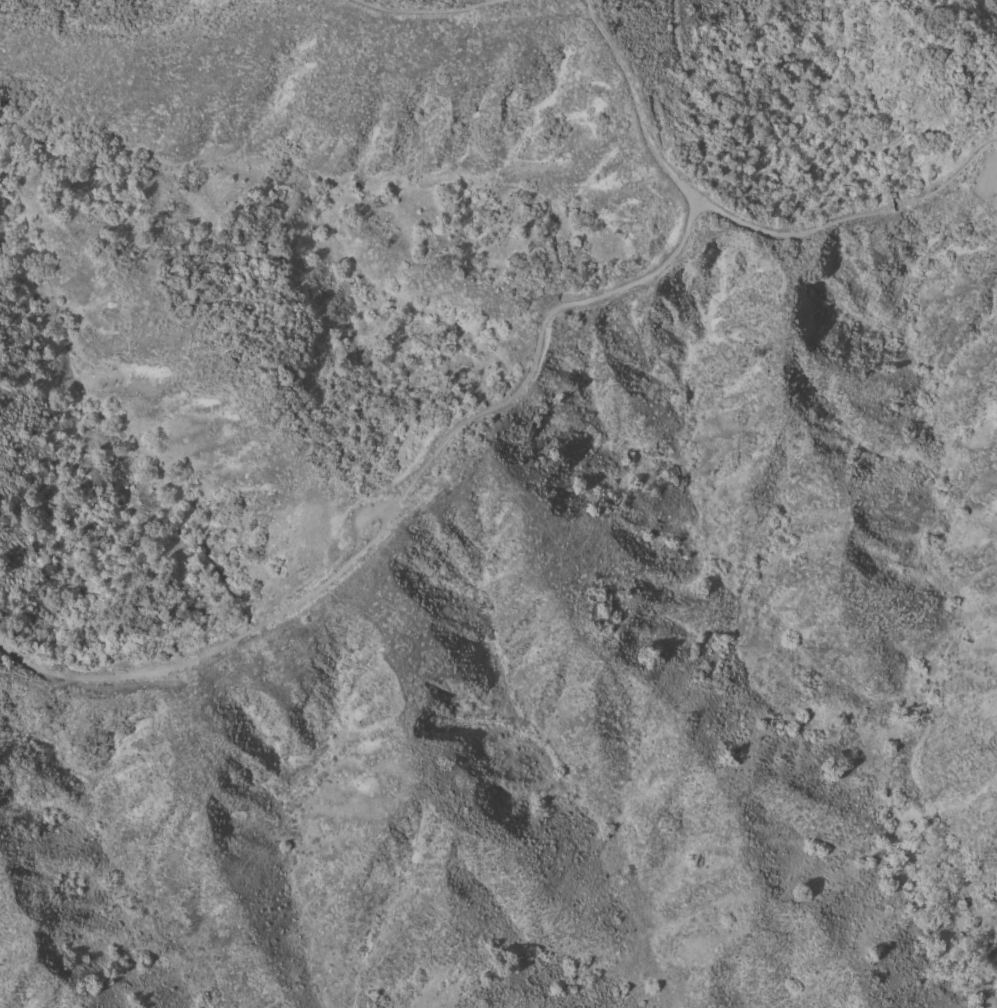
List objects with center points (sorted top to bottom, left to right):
road: (442, 19)
road: (634, 103)
road: (853, 216)
road: (396, 510)

